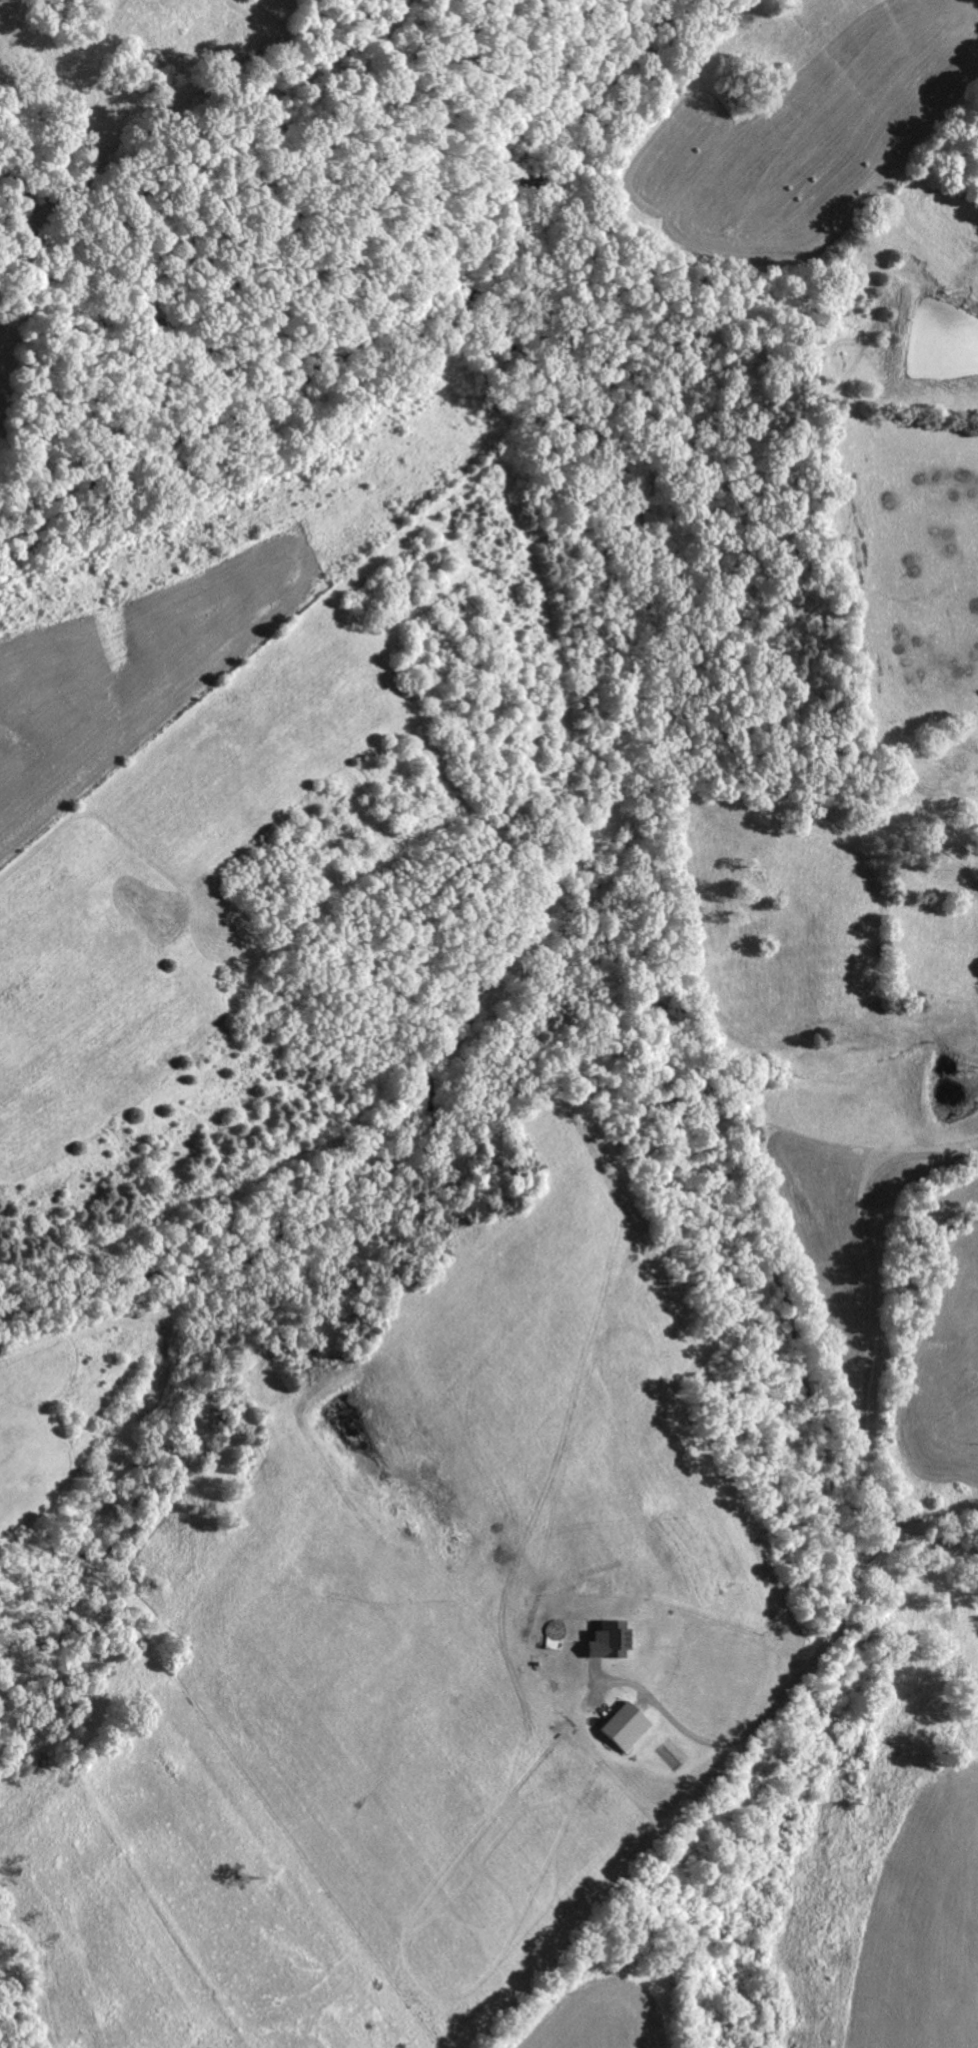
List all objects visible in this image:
road: (348, 301)
road: (874, 1276)
road: (915, 1531)
building: (609, 1637)
road: (781, 1691)
building: (622, 1723)

